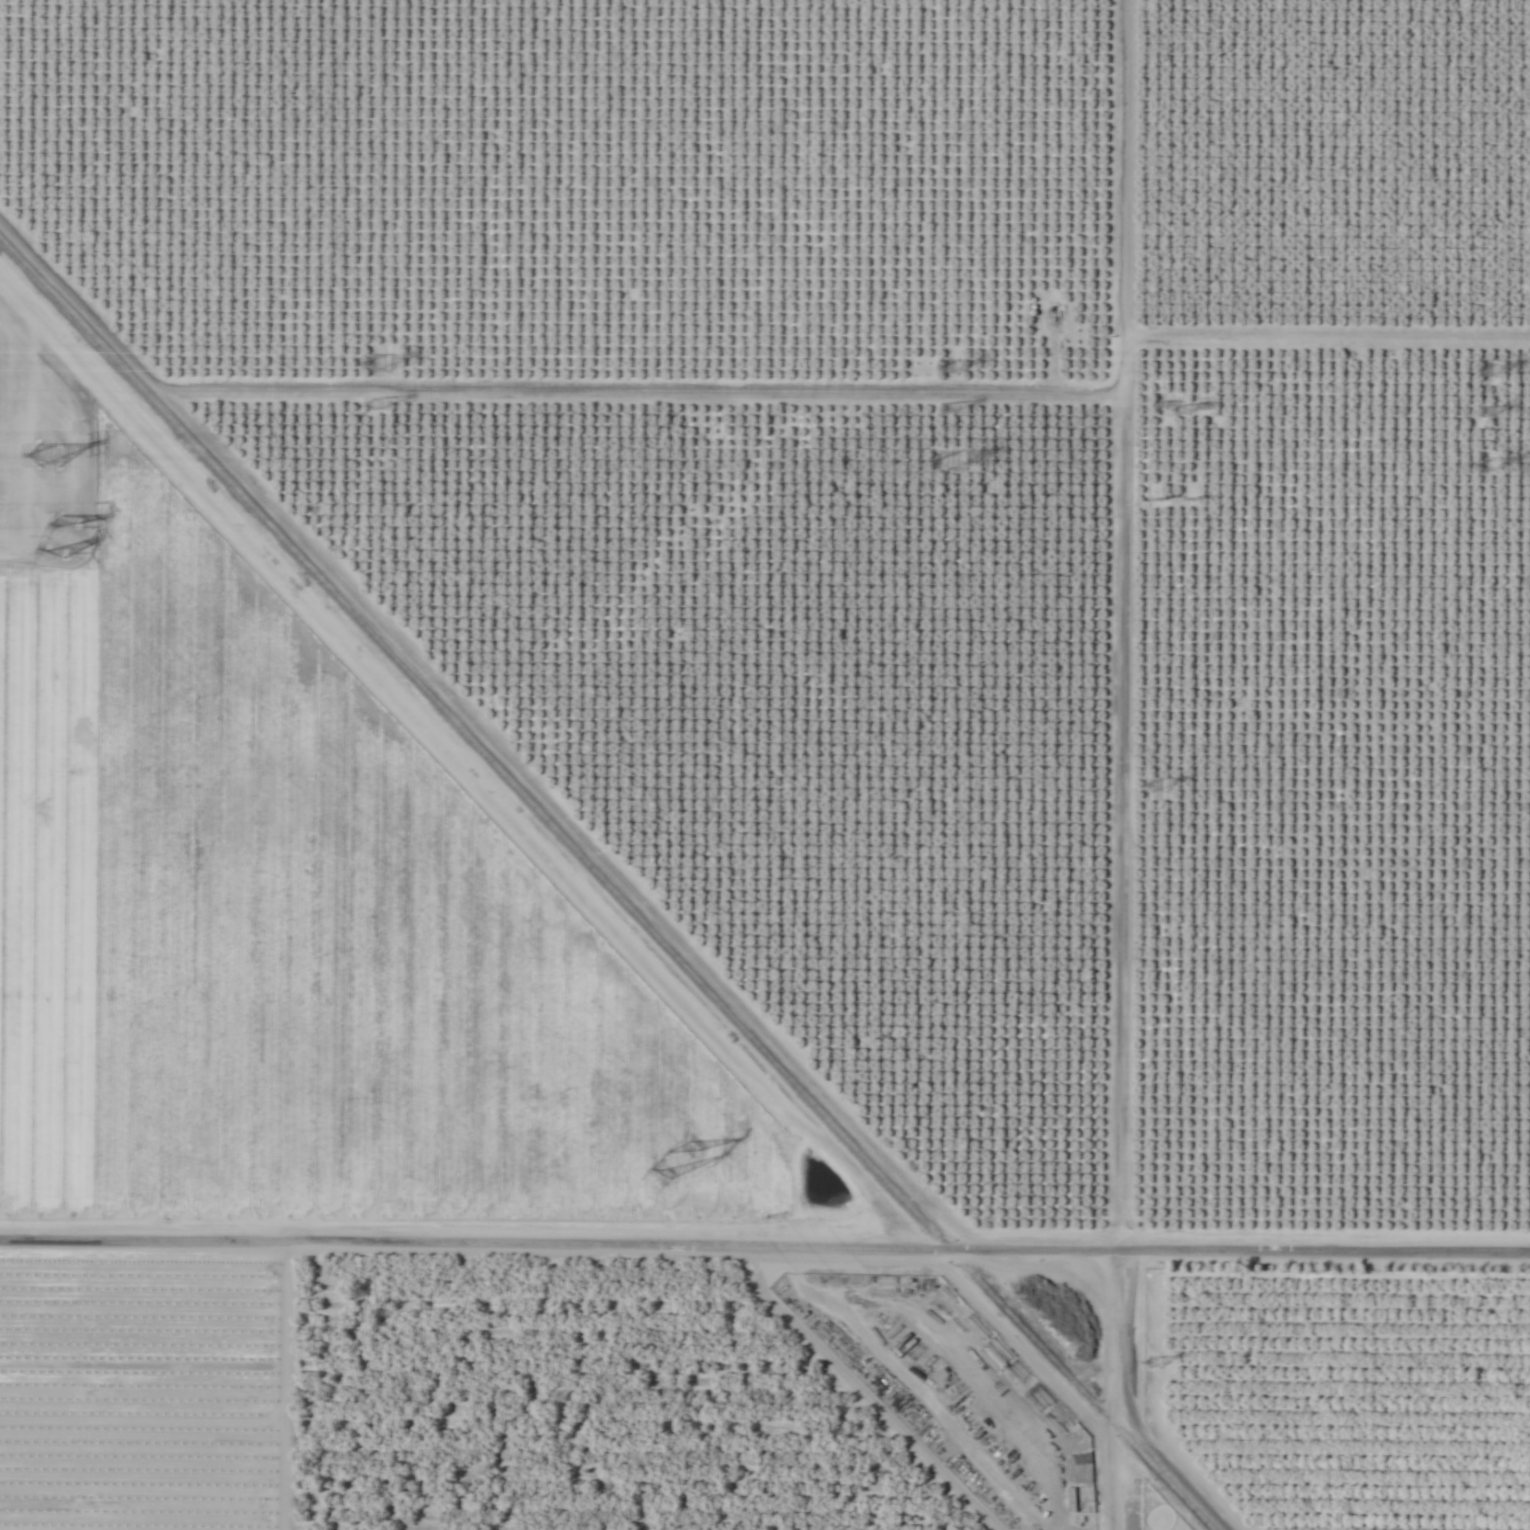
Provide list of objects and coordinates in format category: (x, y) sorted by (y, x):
road: (1124, 68)
road: (84, 302)
road: (1327, 338)
power tower: (377, 369)
power tower: (947, 370)
power tower: (1489, 370)
road: (644, 391)
power tower: (380, 411)
power tower: (950, 412)
power tower: (1492, 412)
power tower: (51, 460)
power tower: (958, 464)
power tower: (1498, 469)
power tower: (62, 539)
crop: (765, 765)
road: (571, 820)
road: (1116, 832)
railway: (606, 885)
power tower: (684, 1161)
road: (764, 1247)
road: (304, 1387)

